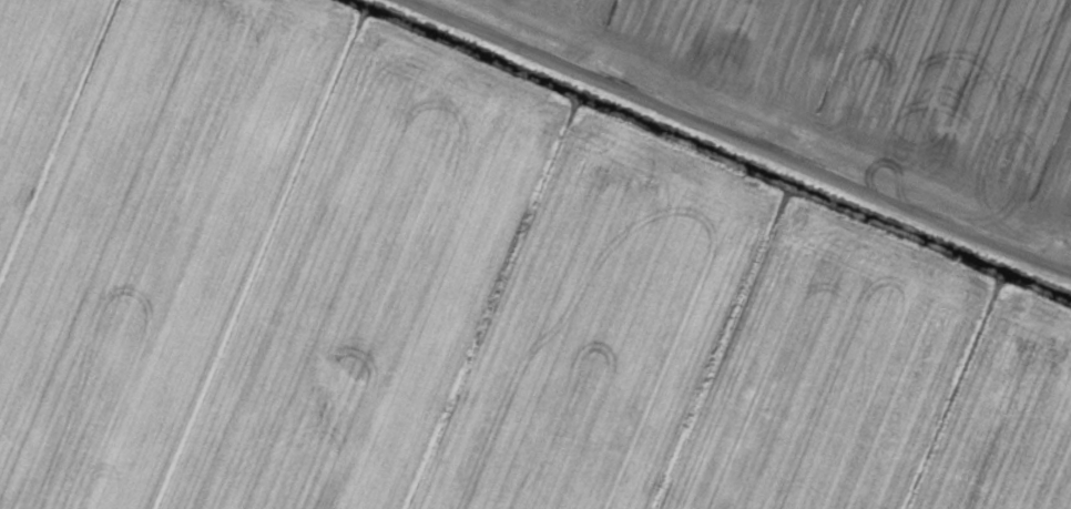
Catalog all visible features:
road: (765, 131)
crop: (535, 254)

